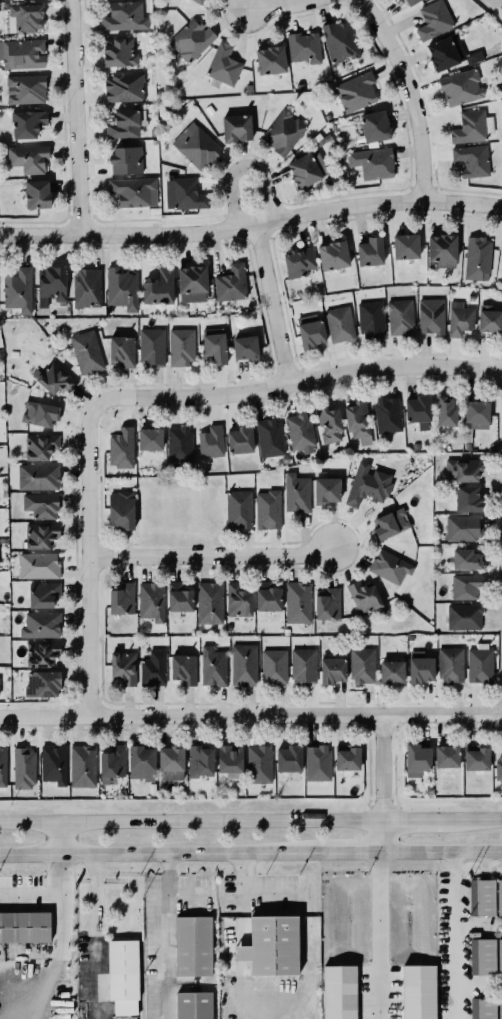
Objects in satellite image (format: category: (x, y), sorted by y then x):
building: (398, 0)
building: (198, 1)
building: (409, 1)
road: (282, 7)
building: (125, 17)
building: (32, 18)
building: (433, 19)
building: (192, 40)
building: (339, 40)
building: (303, 47)
building: (120, 53)
building: (22, 54)
building: (269, 59)
building: (222, 64)
building: (460, 86)
building: (26, 90)
building: (127, 91)
building: (355, 92)
road: (407, 95)
road: (74, 117)
building: (124, 123)
building: (28, 124)
building: (373, 124)
building: (467, 125)
building: (235, 127)
building: (282, 132)
building: (199, 149)
building: (28, 159)
building: (471, 159)
building: (127, 160)
building: (373, 163)
road: (244, 164)
building: (308, 169)
building: (132, 191)
building: (36, 193)
building: (184, 193)
road: (252, 228)
building: (404, 245)
building: (441, 249)
building: (369, 250)
building: (332, 254)
building: (477, 258)
building: (298, 261)
building: (500, 264)
building: (230, 283)
building: (50, 284)
building: (86, 287)
building: (158, 287)
building: (196, 287)
building: (121, 288)
building: (18, 290)
road: (269, 307)
building: (430, 315)
building: (370, 318)
building: (401, 318)
building: (488, 318)
building: (459, 319)
building: (341, 327)
building: (311, 331)
building: (151, 346)
building: (178, 346)
building: (244, 347)
building: (120, 350)
building: (84, 351)
building: (219, 351)
building: (57, 380)
road: (296, 382)
building: (417, 410)
building: (445, 411)
building: (40, 414)
building: (476, 414)
building: (389, 417)
building: (358, 420)
building: (328, 423)
building: (300, 433)
building: (269, 437)
building: (149, 438)
building: (239, 439)
building: (210, 441)
building: (39, 445)
building: (180, 446)
building: (121, 449)
building: (463, 470)
building: (35, 476)
building: (367, 485)
building: (326, 490)
building: (296, 493)
building: (466, 498)
building: (44, 507)
building: (120, 510)
building: (239, 510)
building: (268, 510)
building: (389, 525)
building: (462, 527)
building: (41, 536)
road: (209, 558)
building: (466, 560)
road: (86, 562)
building: (37, 565)
building: (389, 566)
building: (466, 587)
building: (44, 595)
building: (178, 597)
building: (363, 597)
building: (268, 598)
building: (121, 599)
building: (151, 600)
building: (239, 601)
building: (297, 602)
building: (207, 603)
building: (327, 604)
building: (465, 620)
building: (40, 624)
building: (41, 653)
building: (303, 664)
building: (449, 664)
building: (241, 665)
building: (272, 666)
building: (363, 666)
building: (480, 666)
building: (214, 667)
building: (153, 668)
building: (182, 668)
building: (420, 668)
building: (124, 669)
building: (332, 669)
building: (392, 673)
building: (41, 683)
road: (251, 718)
building: (446, 756)
building: (288, 758)
building: (346, 758)
building: (476, 758)
building: (229, 759)
building: (416, 759)
building: (199, 761)
building: (111, 762)
building: (141, 763)
building: (170, 763)
building: (317, 763)
building: (52, 764)
building: (260, 764)
building: (82, 766)
building: (3, 767)
building: (24, 768)
building: (498, 768)
road: (382, 771)
building: (428, 787)
road: (480, 821)
road: (420, 822)
road: (191, 823)
road: (381, 836)
road: (59, 838)
road: (441, 848)
road: (348, 849)
road: (158, 852)
road: (47, 894)
road: (246, 895)
building: (481, 896)
building: (498, 896)
building: (24, 926)
road: (377, 933)
road: (456, 933)
road: (93, 935)
road: (167, 935)
building: (193, 945)
building: (271, 945)
building: (482, 956)
building: (498, 956)
building: (122, 975)
building: (340, 992)
building: (419, 992)
building: (192, 1005)
building: (483, 1008)
building: (498, 1008)

